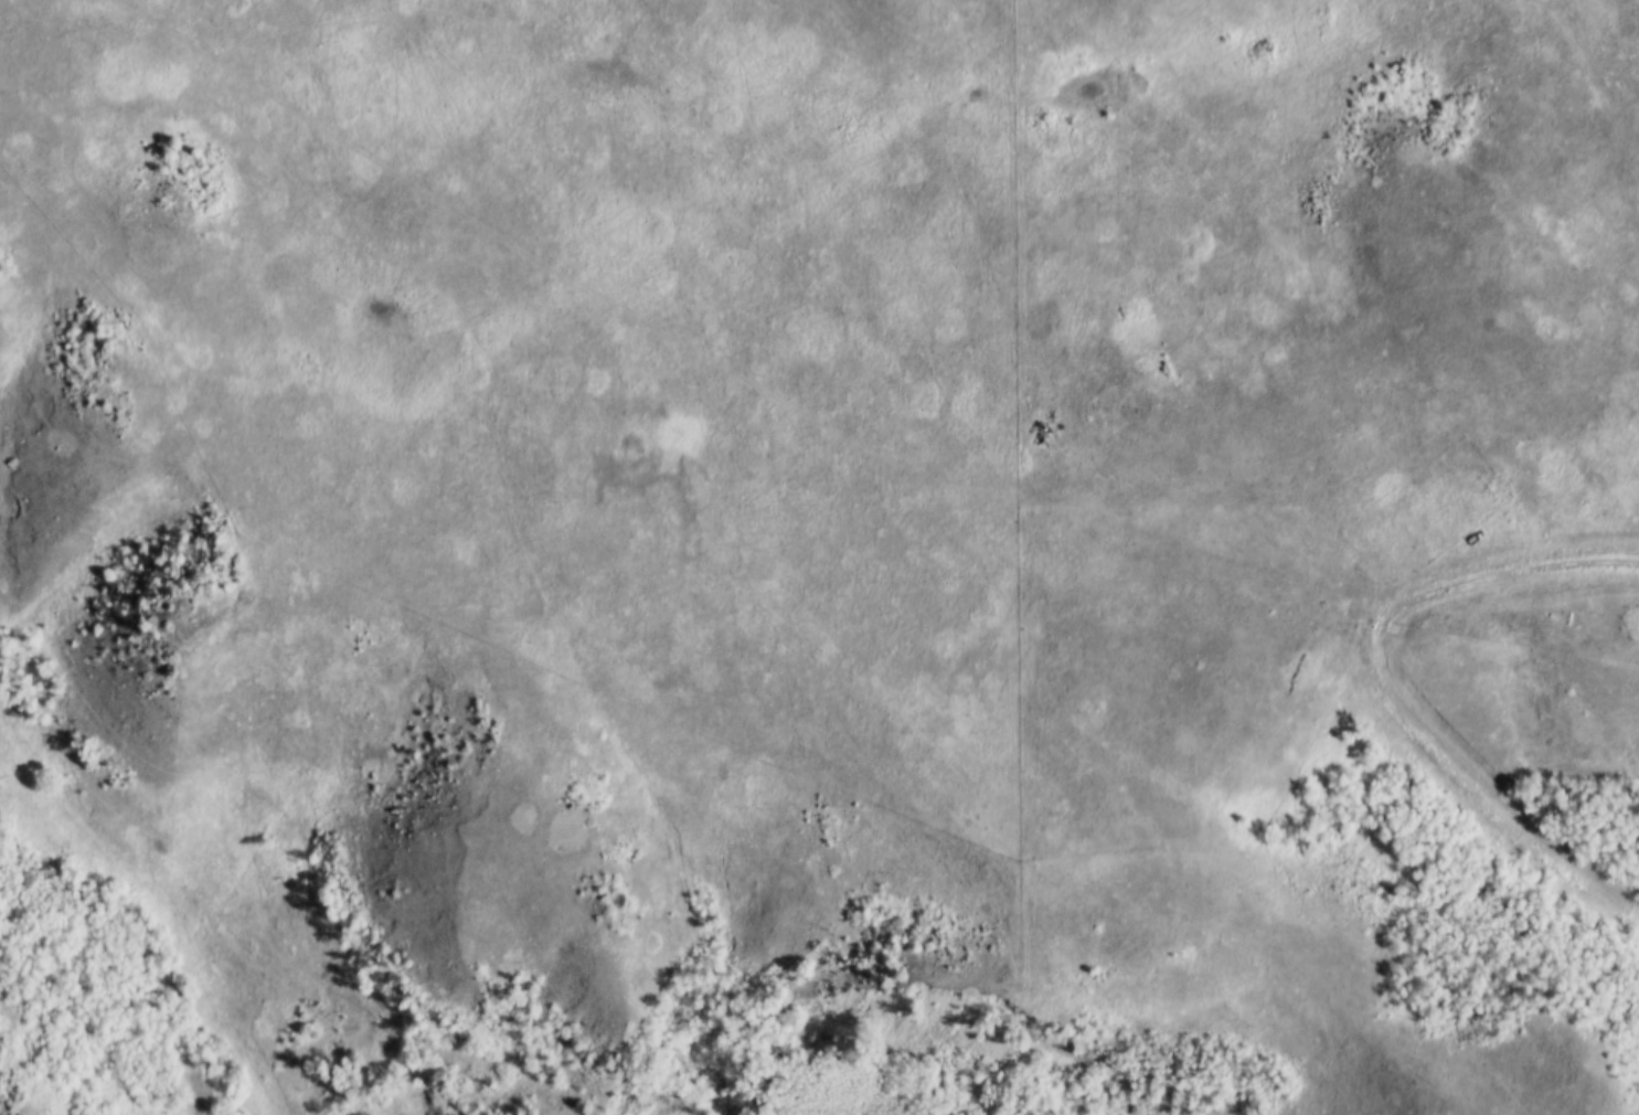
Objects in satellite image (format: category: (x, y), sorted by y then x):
road: (1403, 700)

